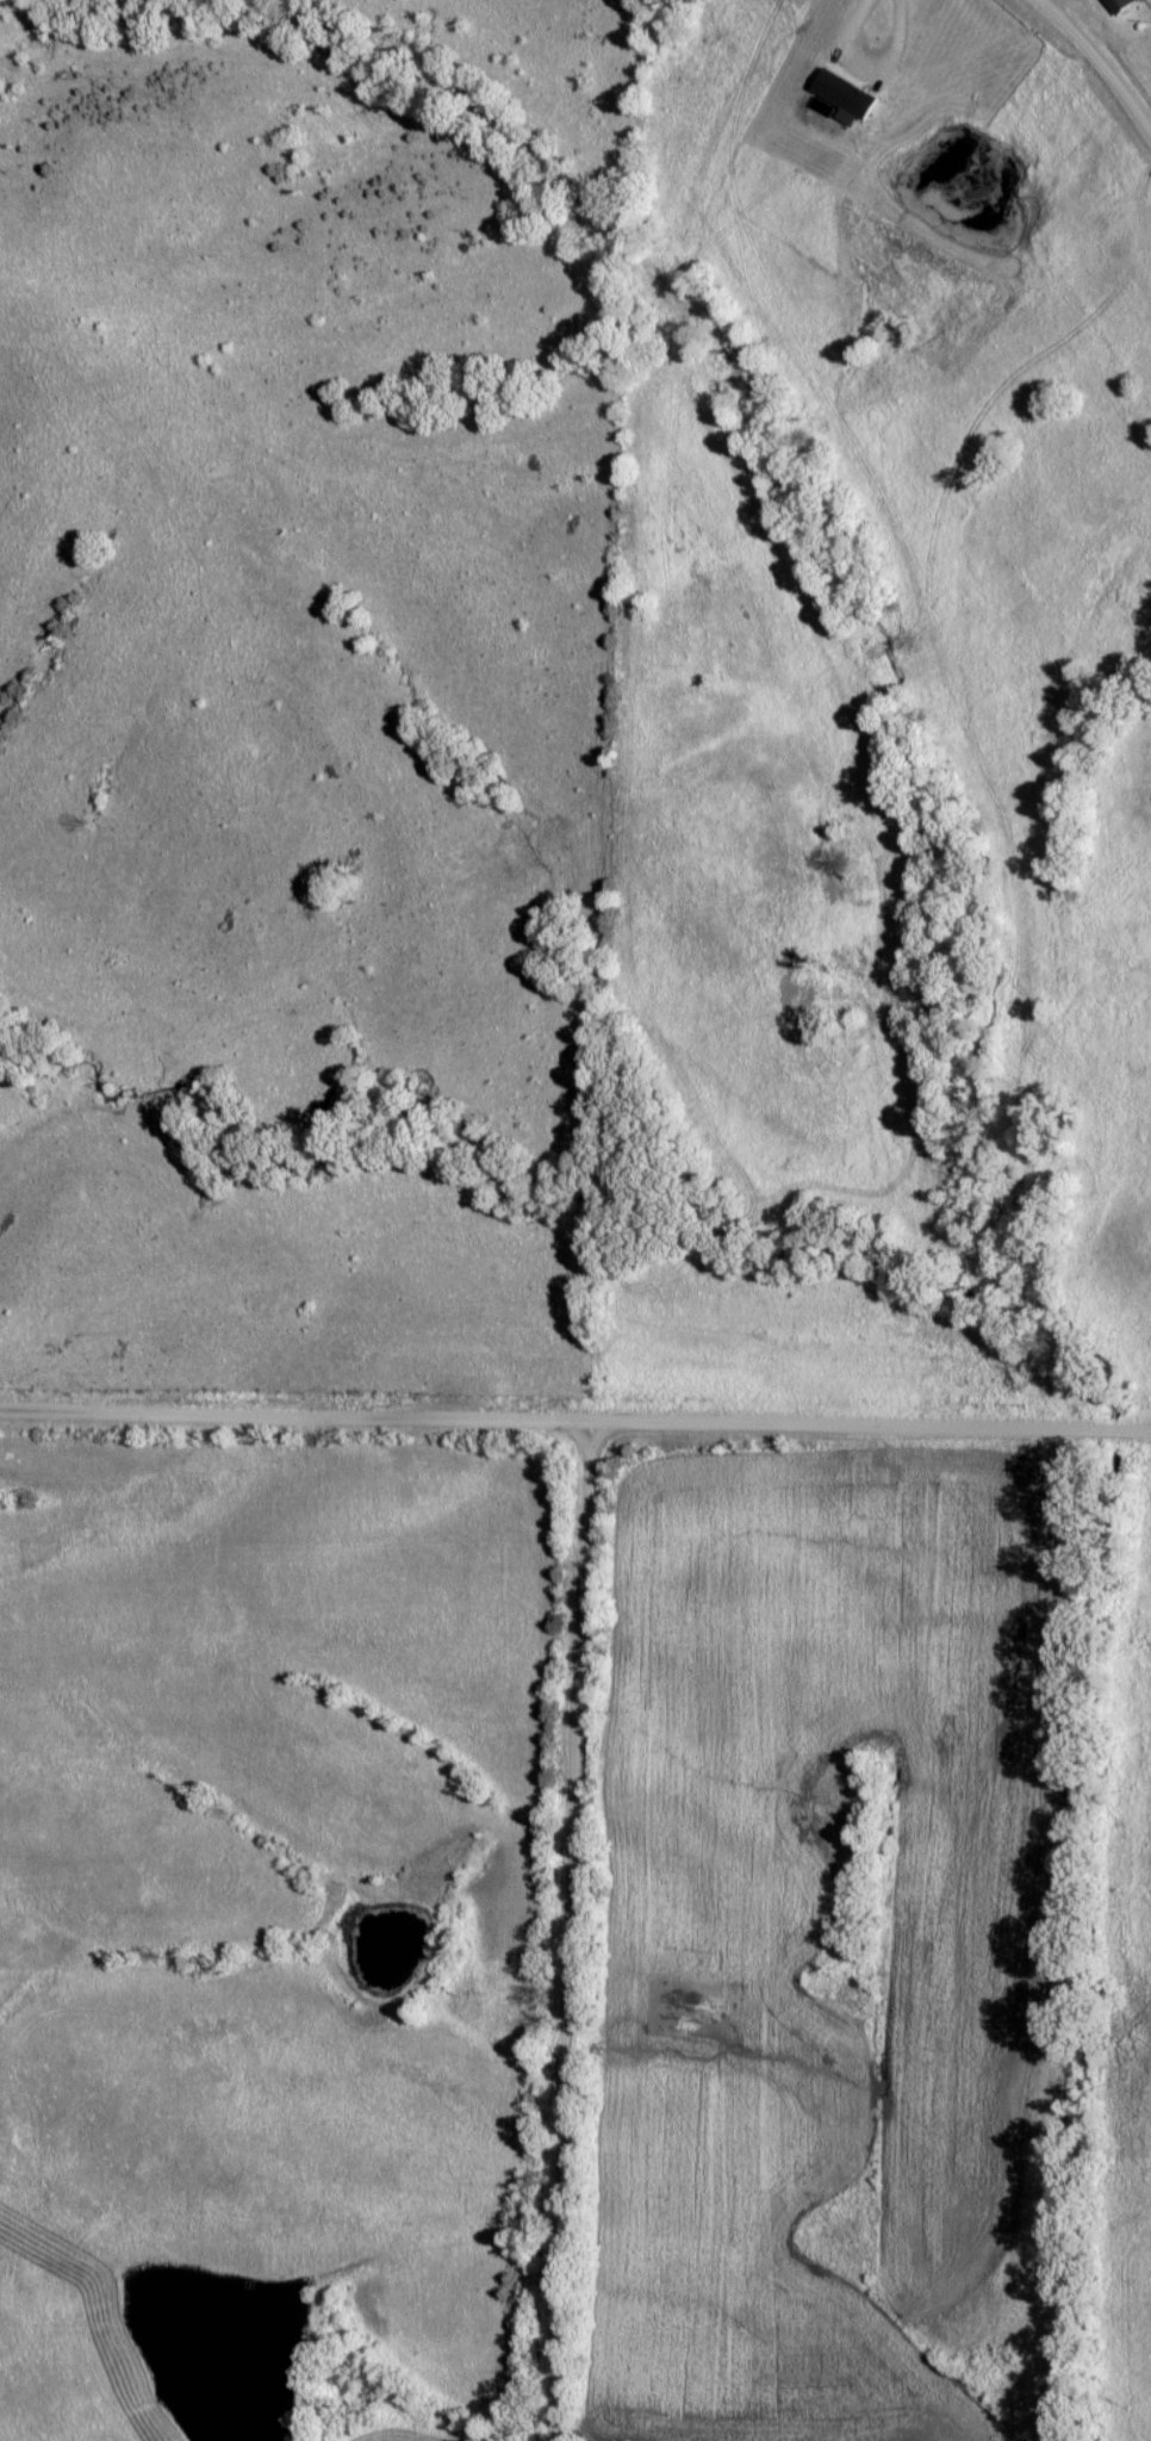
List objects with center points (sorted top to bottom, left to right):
building: (1120, 6)
road: (1090, 68)
road: (574, 1427)
road: (562, 1933)

